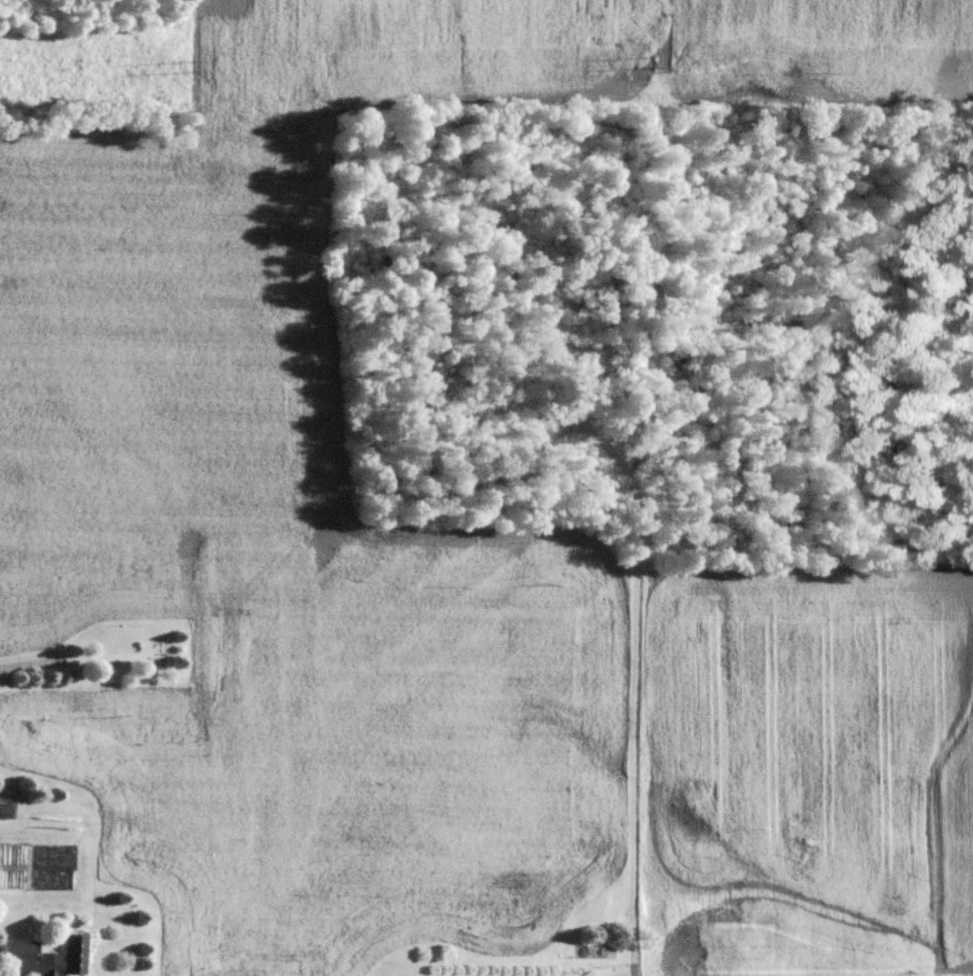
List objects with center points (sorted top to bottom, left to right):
building: (45, 958)

